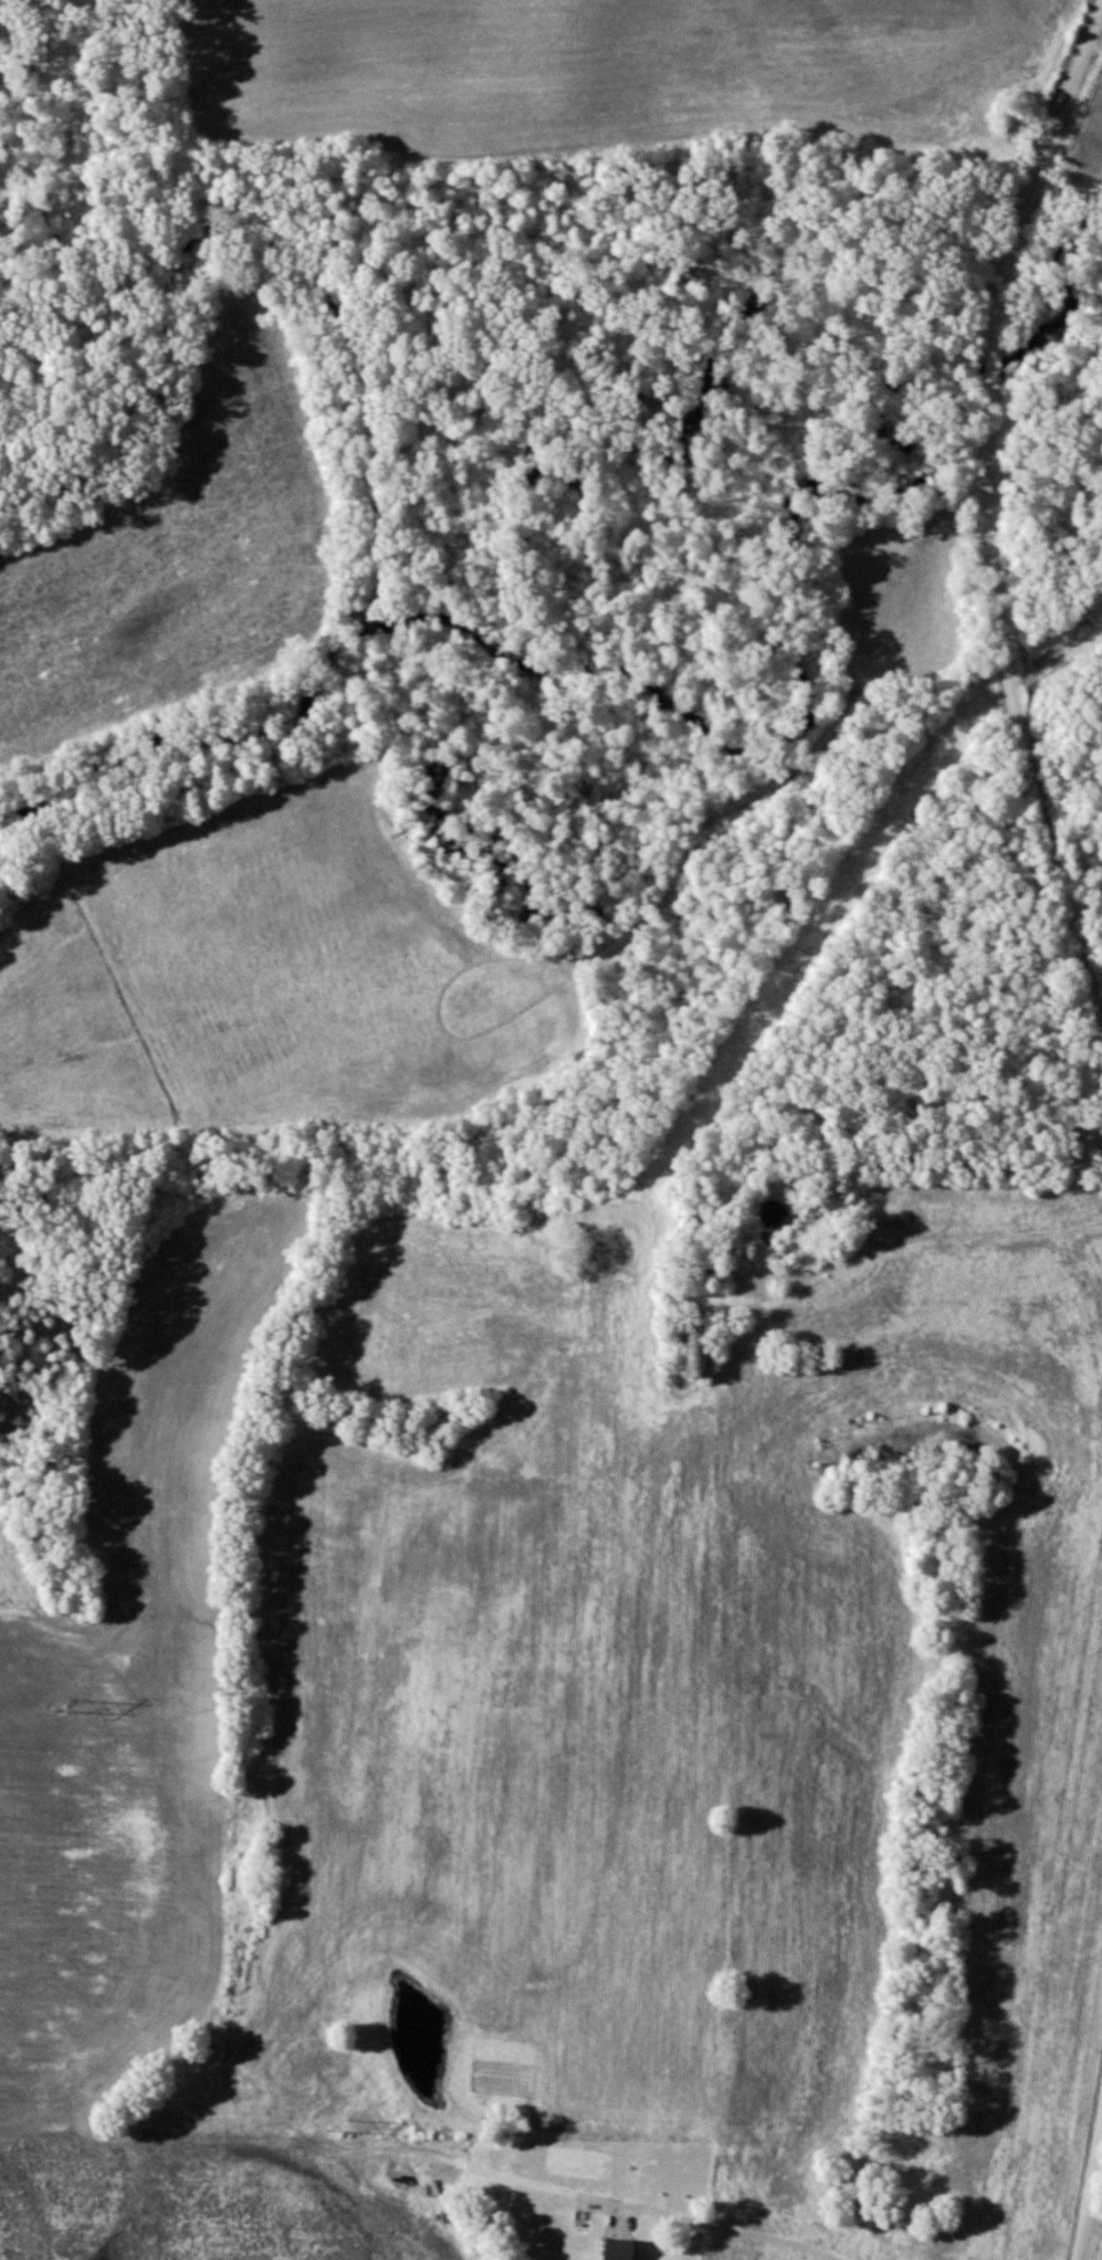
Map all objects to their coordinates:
road: (987, 507)
building: (777, 1215)
building: (699, 1350)
power tower: (55, 1704)
power tower: (333, 2125)
road: (1089, 2177)
road: (752, 2225)

